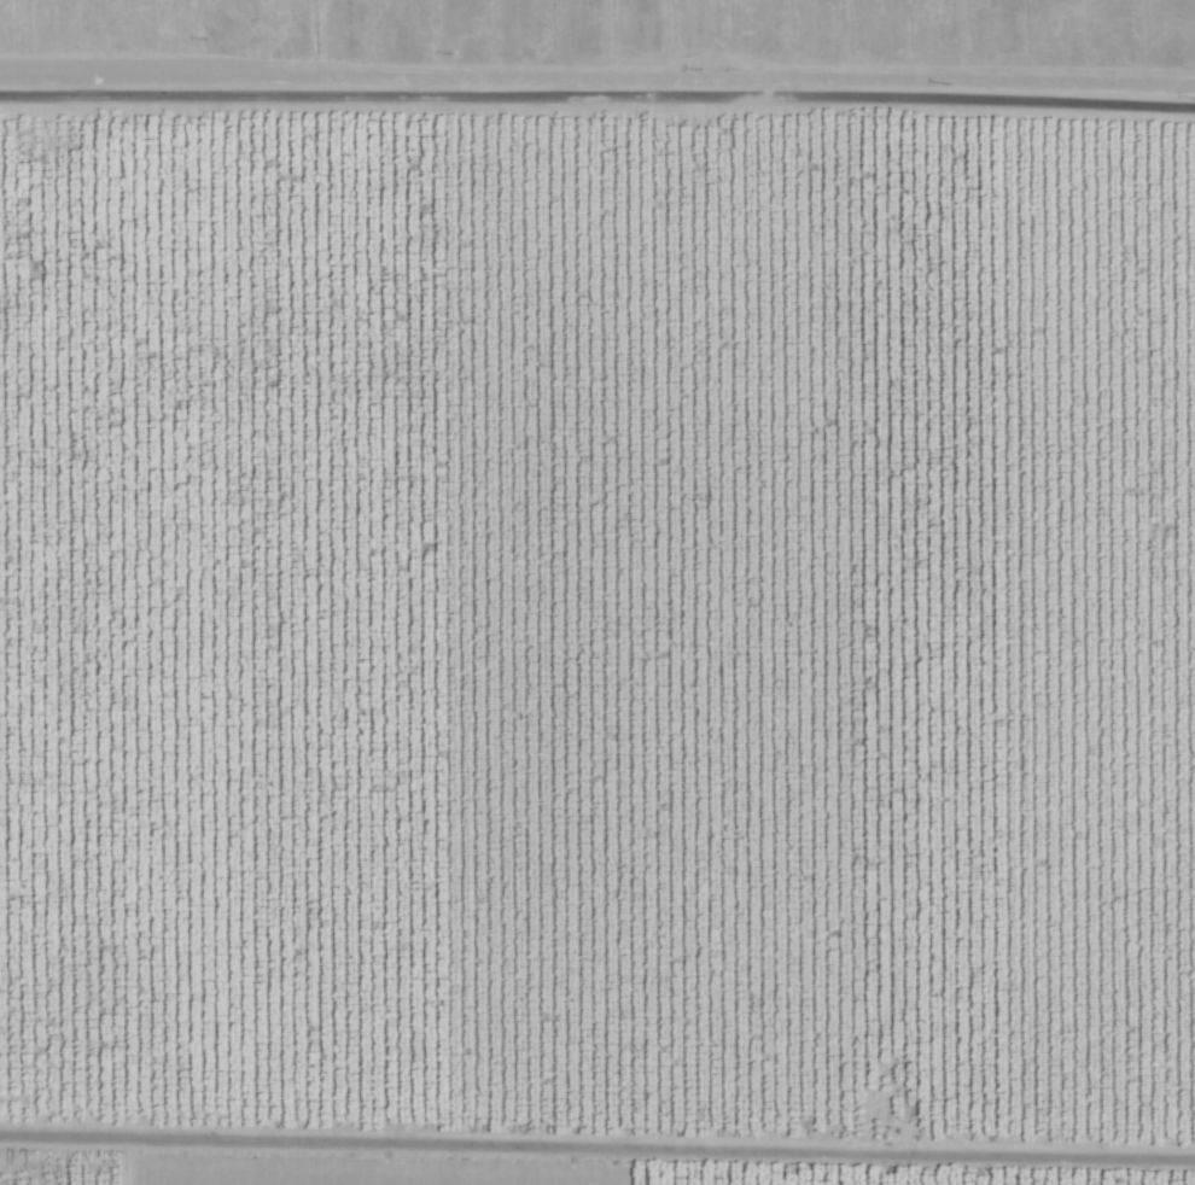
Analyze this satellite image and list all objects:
crop: (623, 31)
road: (597, 94)

